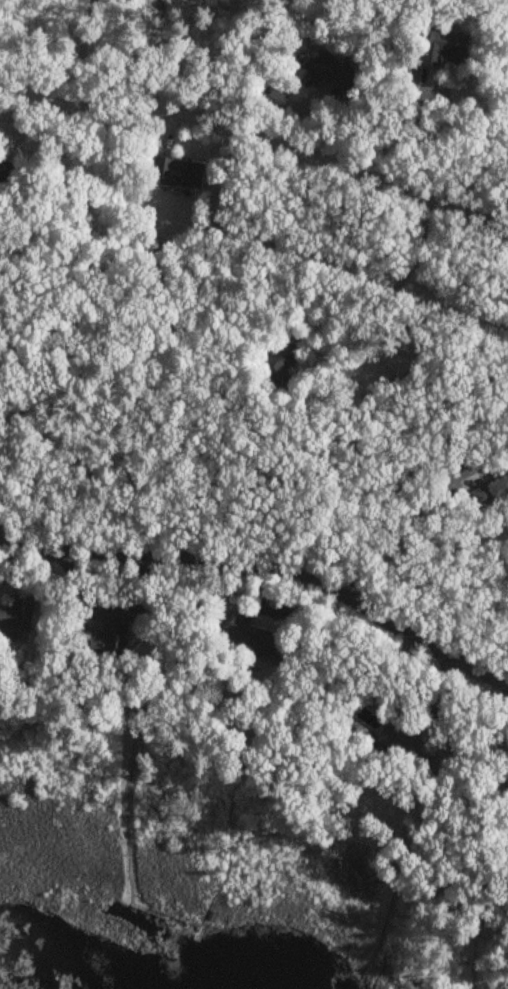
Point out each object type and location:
building: (442, 48)
building: (320, 72)
building: (273, 97)
road: (261, 138)
building: (3, 168)
building: (180, 173)
road: (398, 284)
building: (279, 360)
building: (487, 492)
road: (398, 533)
road: (266, 568)
building: (15, 616)
building: (104, 637)
building: (251, 639)
building: (406, 744)
road: (501, 748)
building: (507, 837)

